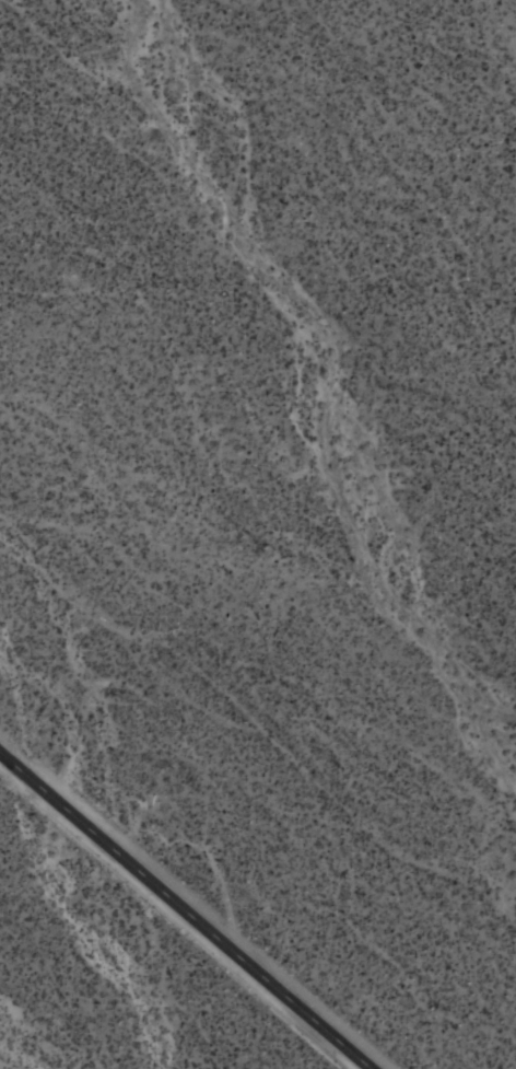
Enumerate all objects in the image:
road: (185, 913)

